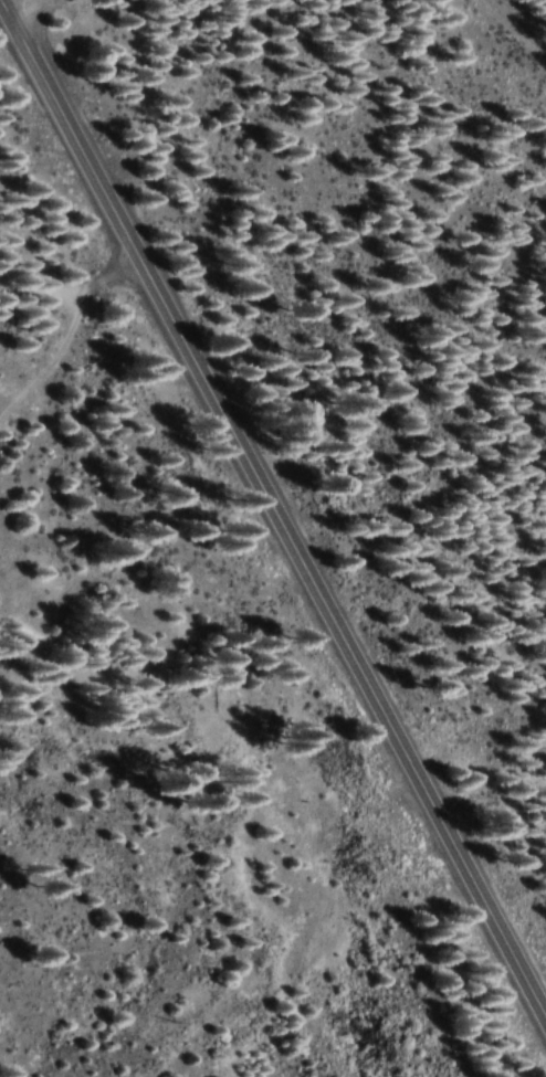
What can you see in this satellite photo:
road: (25, 8)
road: (70, 335)
road: (276, 500)

